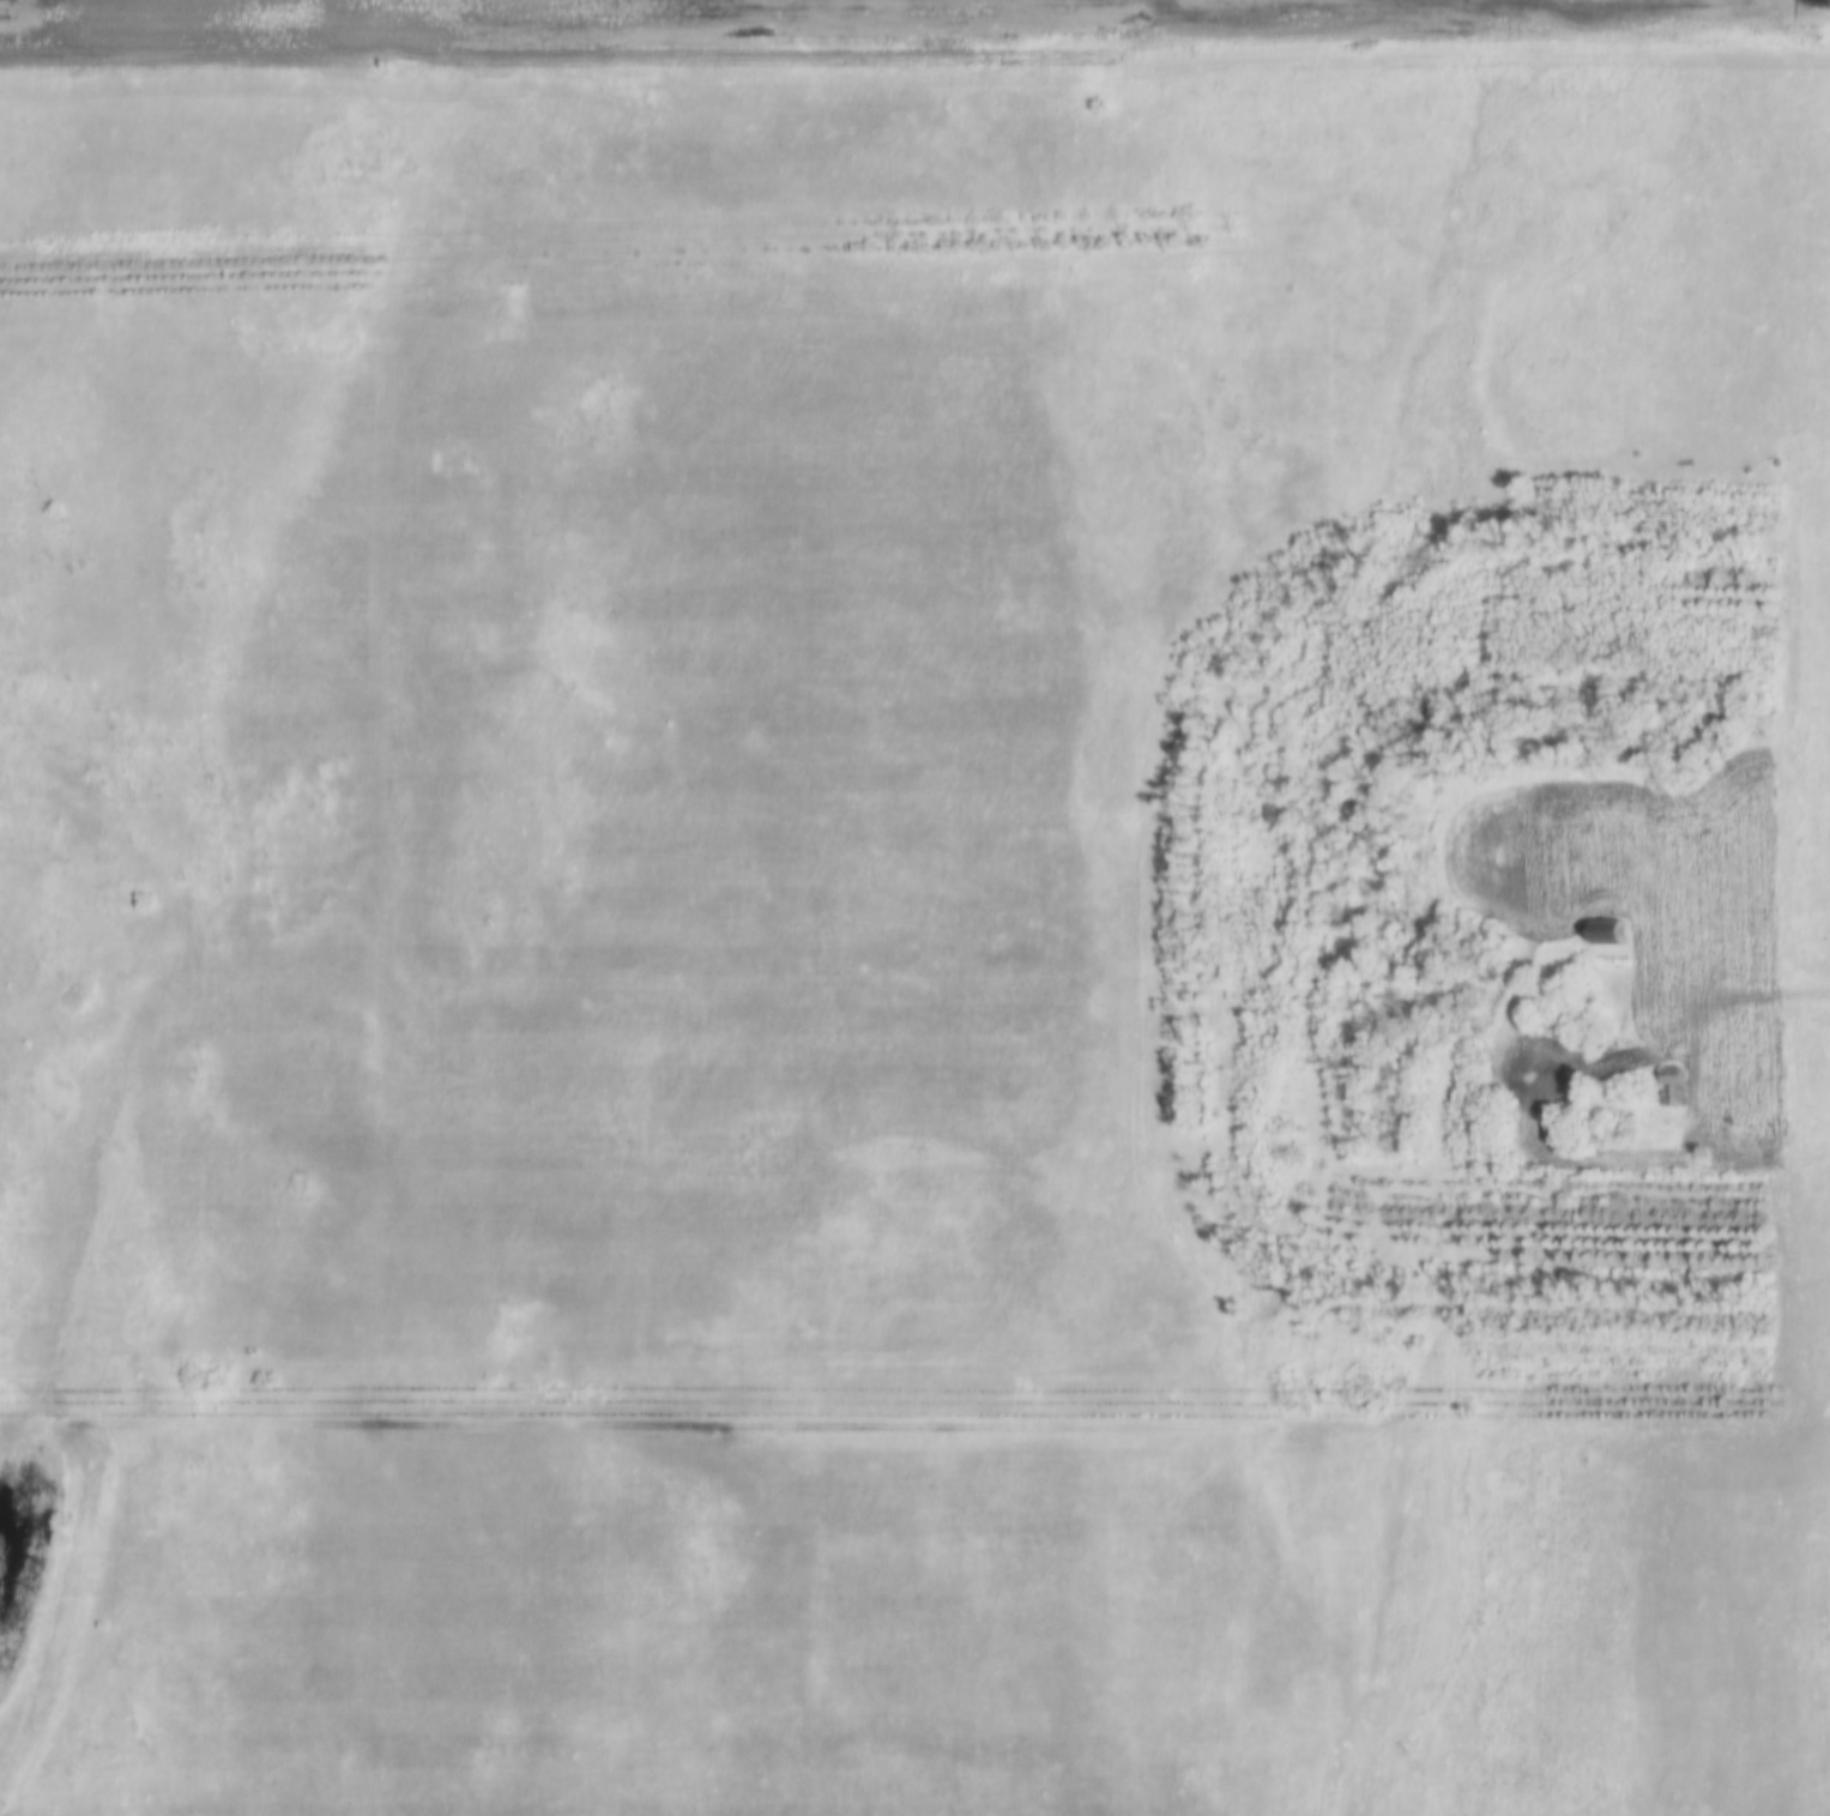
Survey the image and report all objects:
building: (1612, 930)
building: (1673, 1086)

